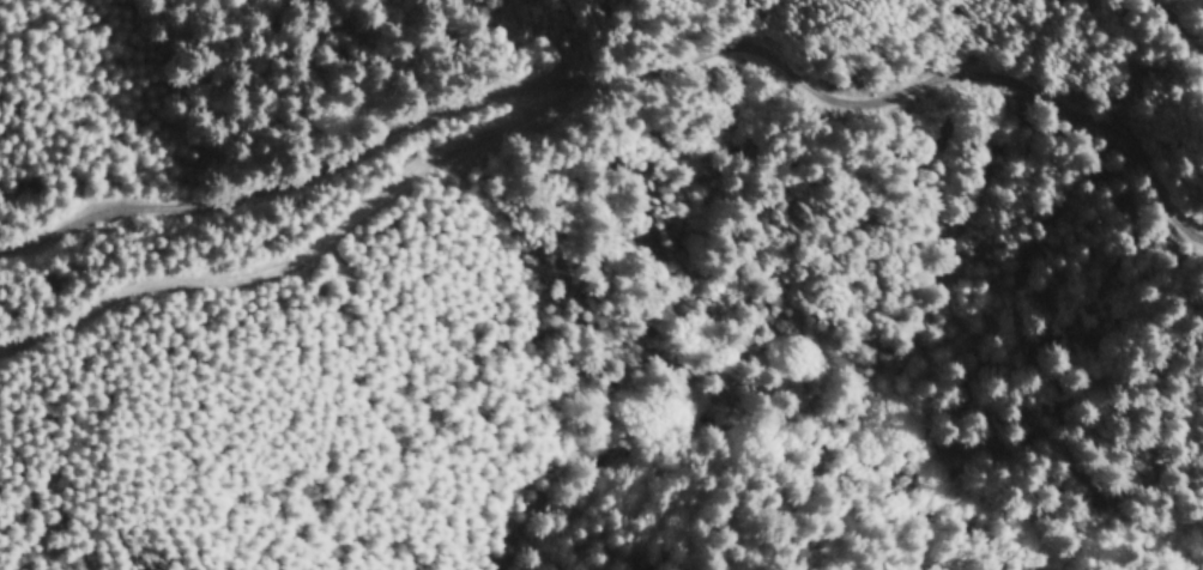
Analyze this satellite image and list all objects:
road: (590, 25)

